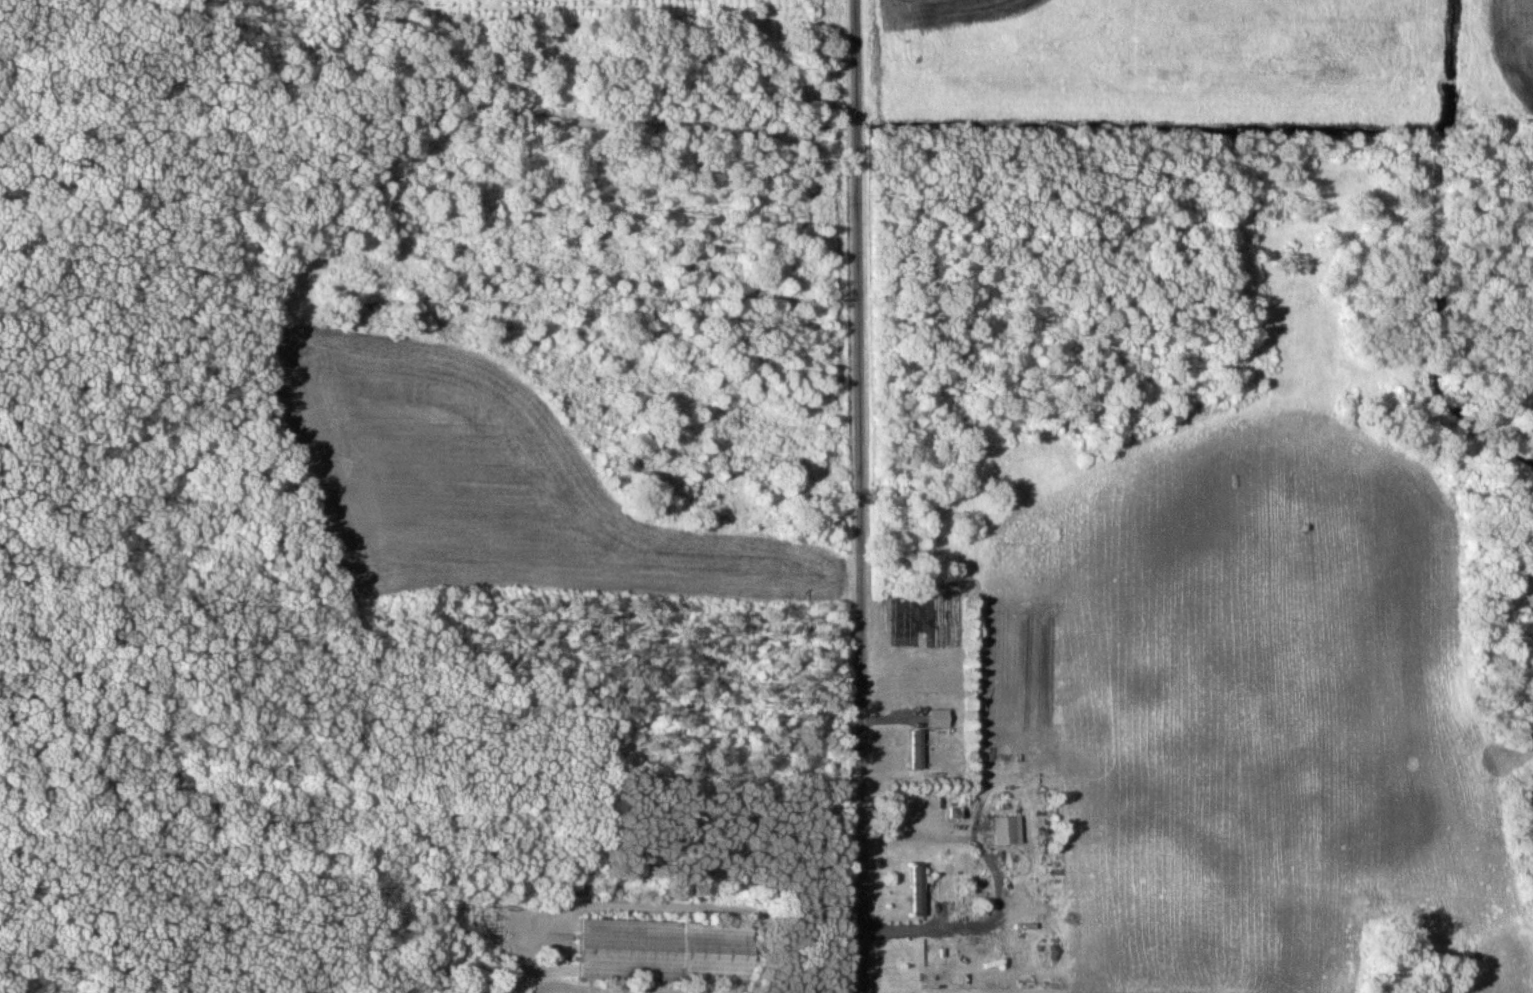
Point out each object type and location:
road: (859, 496)
building: (938, 717)
building: (916, 749)
building: (1007, 829)
building: (918, 889)
road: (695, 908)
building: (664, 951)

